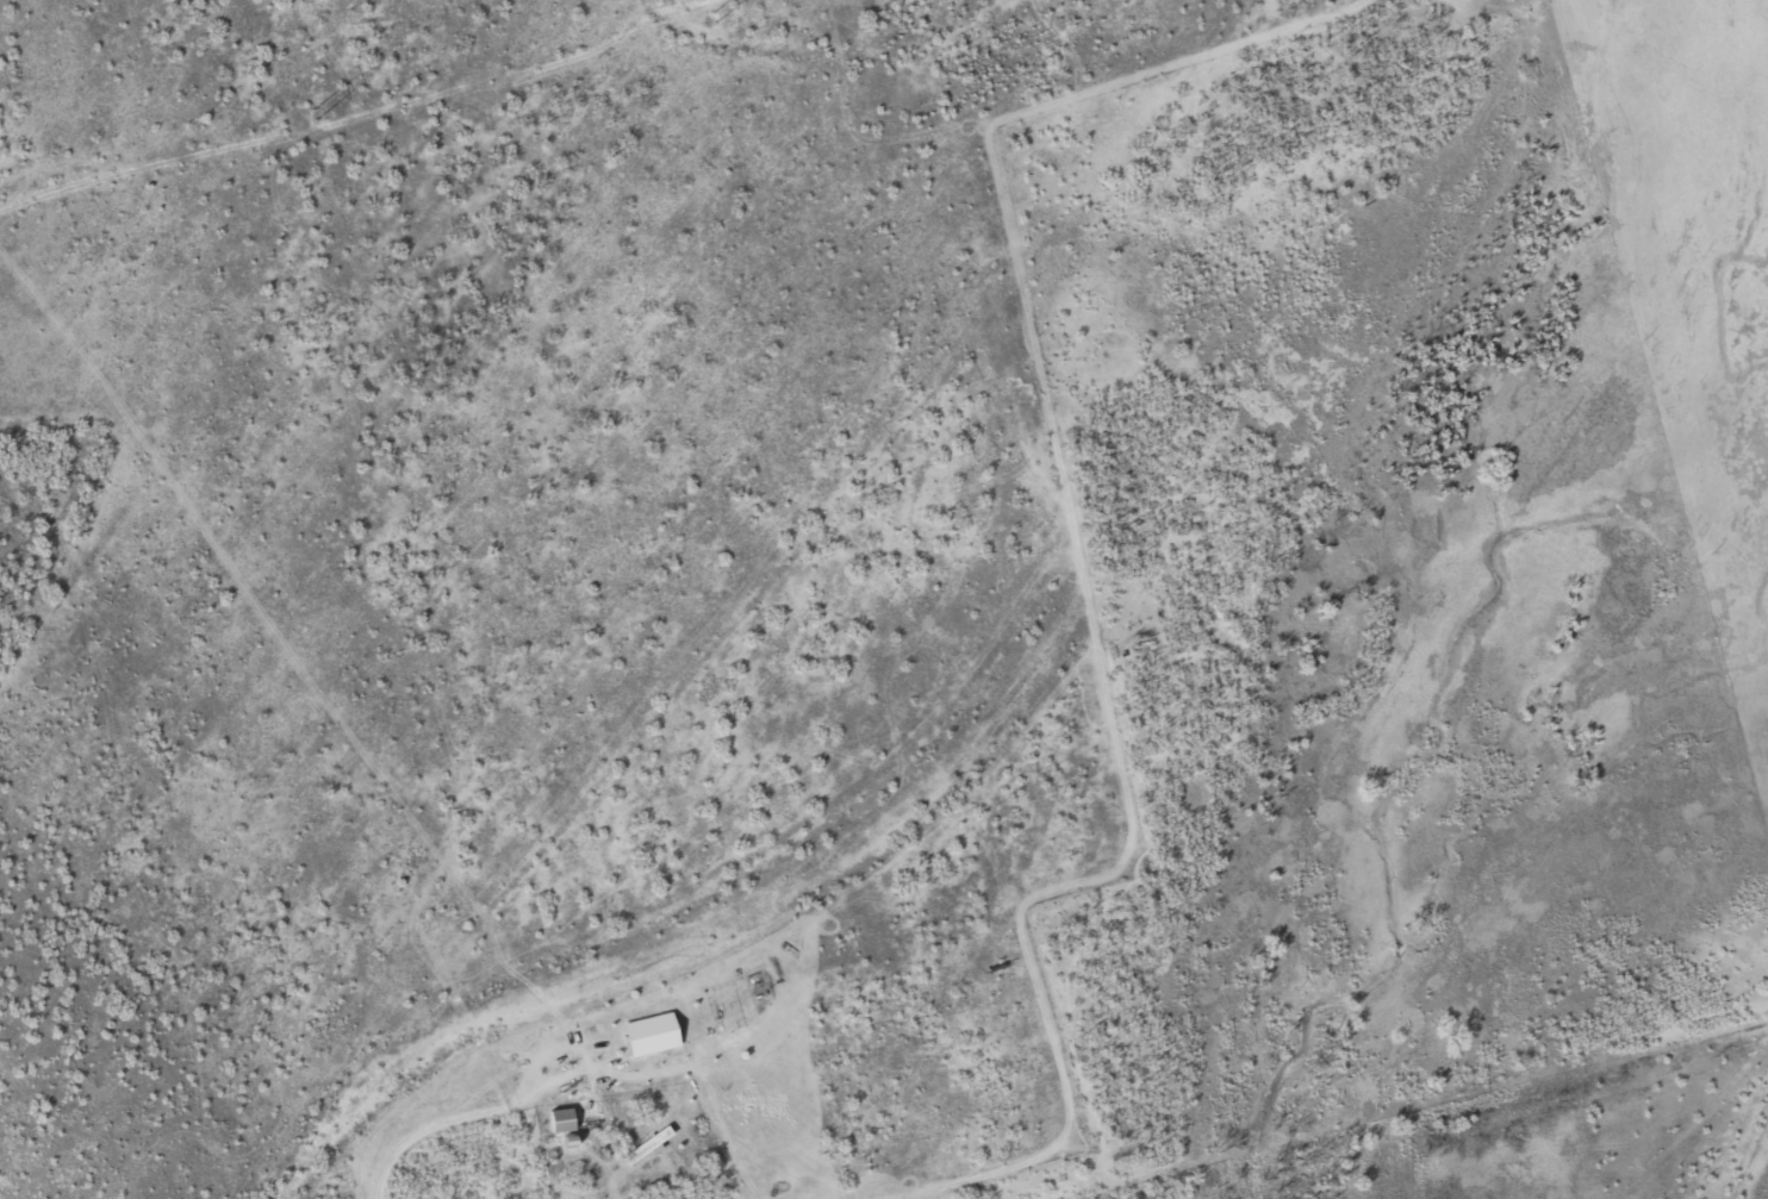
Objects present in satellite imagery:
power tower: (718, 15)
power tower: (310, 114)
building: (659, 1030)
road: (573, 1048)
building: (565, 1119)
road: (431, 1124)
building: (650, 1145)

